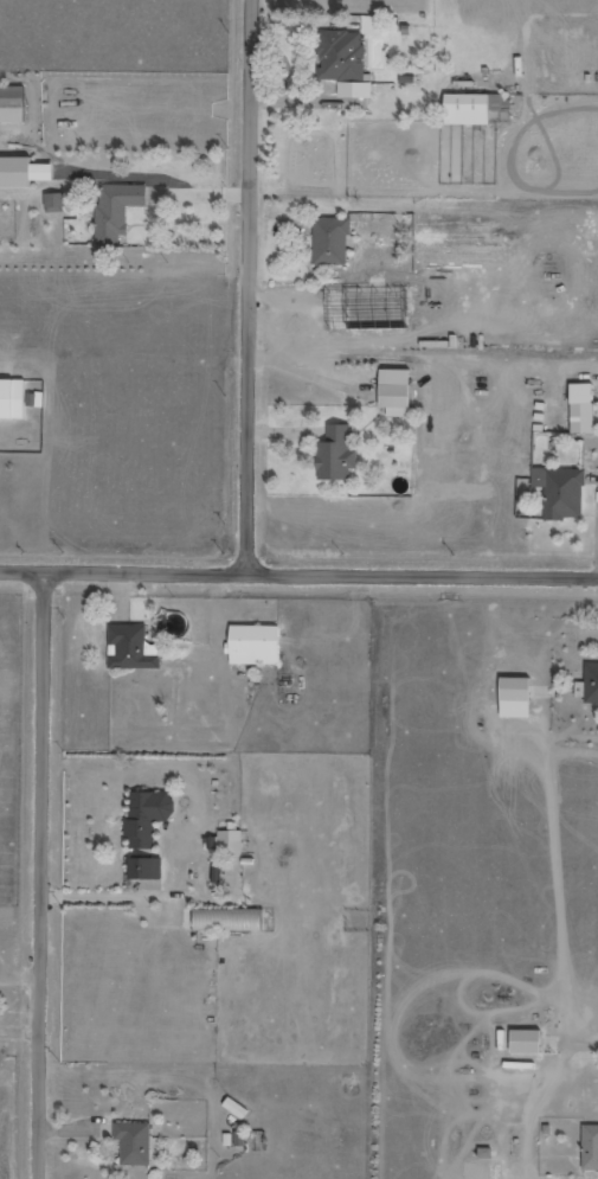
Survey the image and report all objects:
building: (345, 62)
building: (13, 103)
building: (472, 108)
building: (24, 172)
building: (56, 203)
building: (117, 211)
building: (332, 241)
road: (252, 287)
building: (360, 300)
building: (397, 392)
building: (13, 398)
building: (584, 408)
building: (337, 454)
building: (561, 491)
road: (298, 574)
building: (258, 645)
building: (592, 683)
building: (517, 690)
building: (229, 842)
building: (147, 869)
road: (45, 873)
building: (231, 921)
building: (528, 1042)
building: (135, 1142)
building: (591, 1147)

